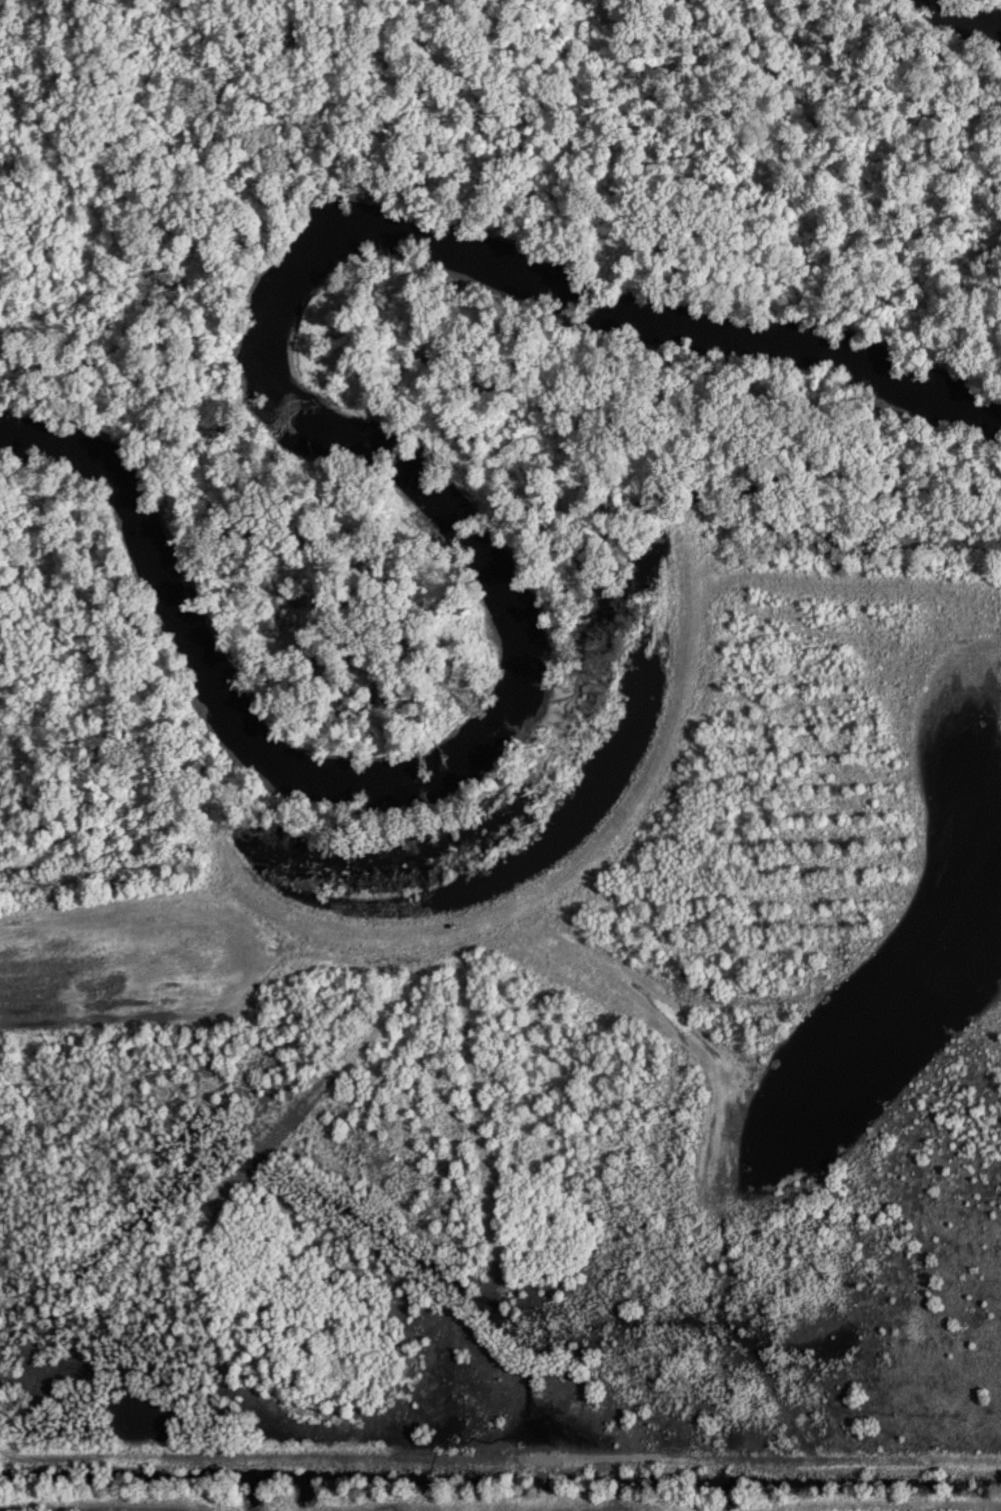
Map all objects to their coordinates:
road: (133, 1501)
road: (570, 1509)
road: (893, 1509)

